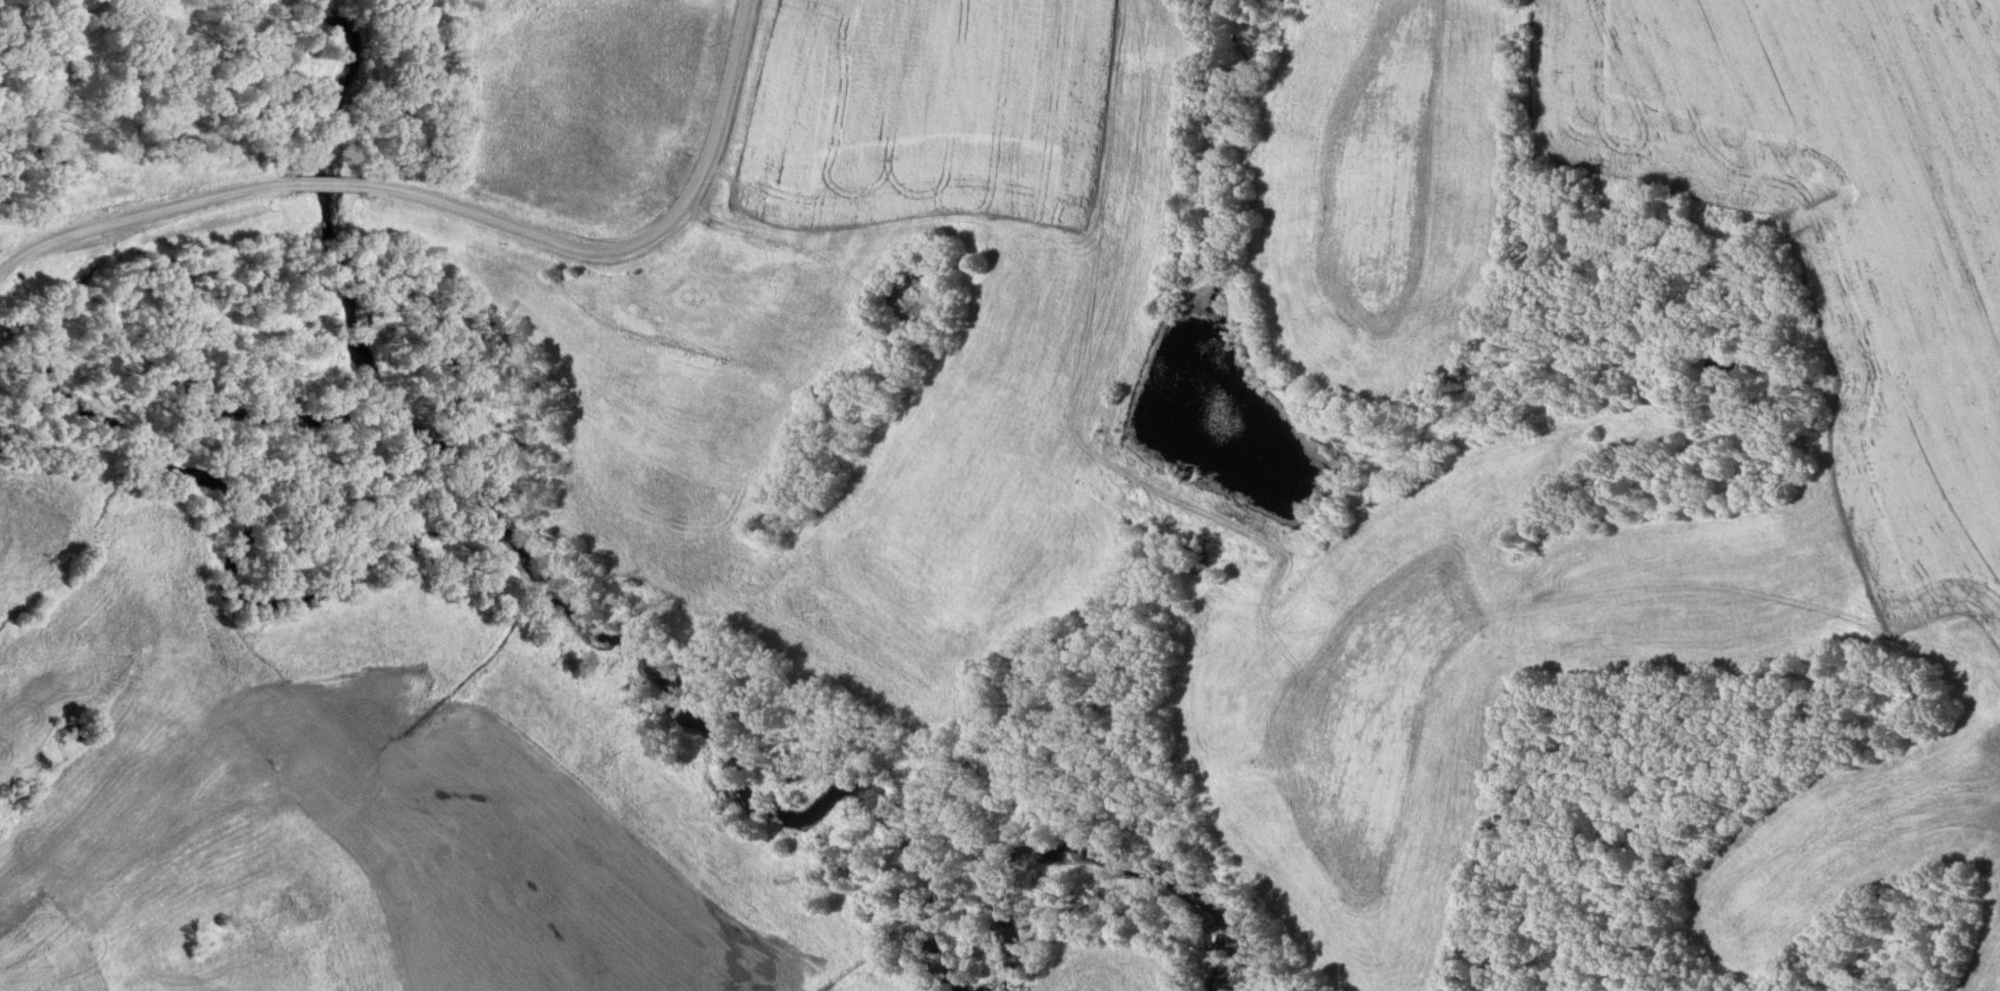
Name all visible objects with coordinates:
road: (454, 208)

